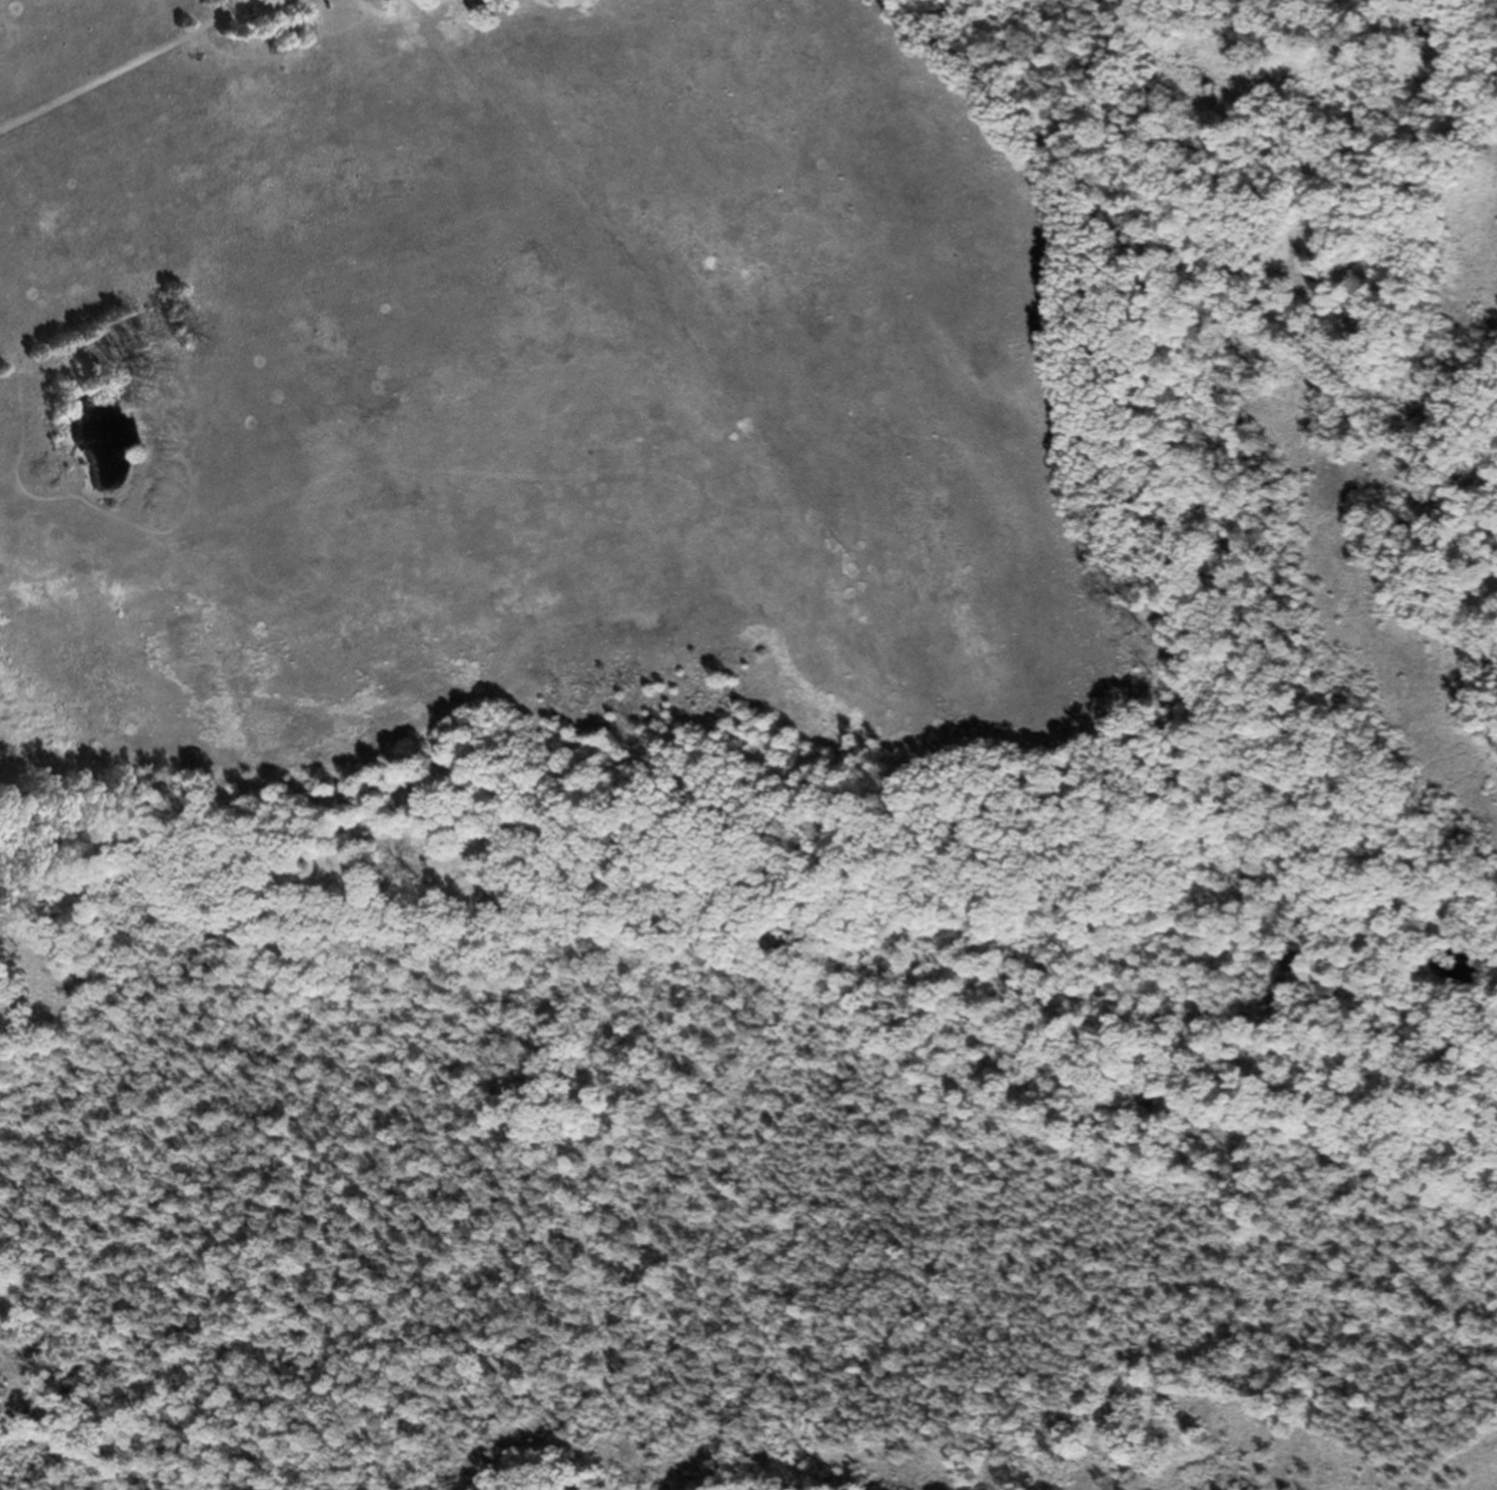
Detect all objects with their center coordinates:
building: (291, 35)

